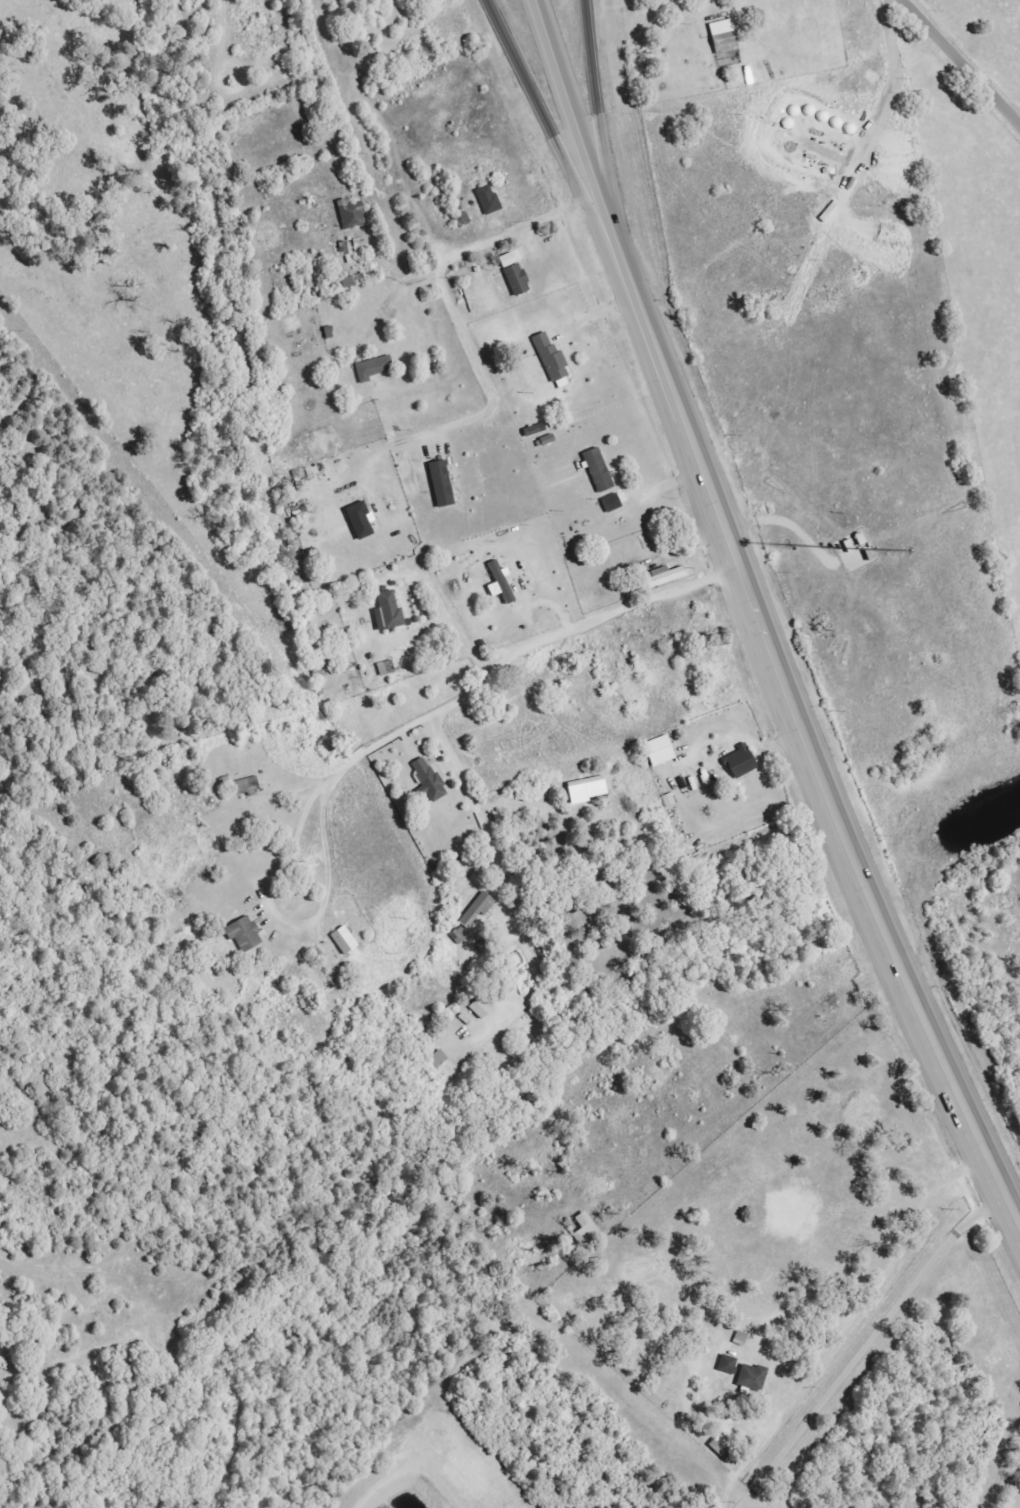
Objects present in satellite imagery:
building: (725, 37)
road: (960, 63)
road: (593, 94)
road: (566, 95)
road: (546, 128)
building: (489, 200)
building: (353, 214)
road: (607, 219)
road: (481, 241)
building: (360, 244)
building: (518, 280)
road: (594, 312)
building: (553, 360)
building: (374, 369)
building: (600, 471)
building: (443, 484)
building: (613, 503)
building: (361, 520)
building: (664, 577)
building: (502, 583)
road: (447, 596)
building: (389, 612)
road: (511, 658)
road: (806, 743)
building: (661, 751)
building: (742, 762)
building: (429, 780)
building: (248, 784)
building: (477, 911)
building: (246, 935)
building: (460, 936)
building: (345, 941)
building: (483, 1008)
road: (889, 1258)
building: (741, 1339)
road: (867, 1345)
building: (728, 1365)
building: (752, 1378)
building: (724, 1448)

